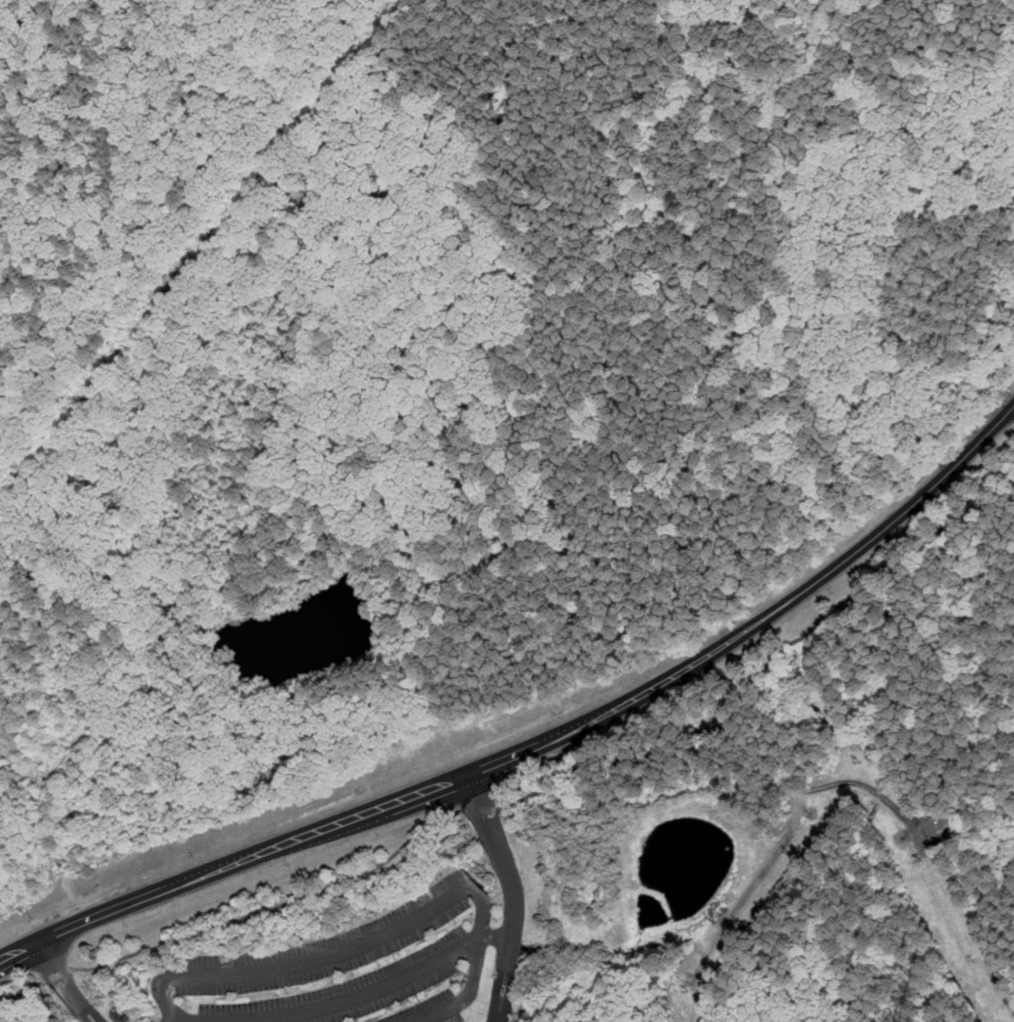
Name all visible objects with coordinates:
road: (1000, 473)
road: (934, 532)
road: (839, 564)
road: (710, 722)
road: (480, 809)
road: (321, 828)
road: (56, 852)
road: (514, 893)
road: (273, 906)
road: (496, 935)
road: (384, 936)
road: (59, 974)
road: (63, 983)
road: (23, 991)
road: (363, 994)

